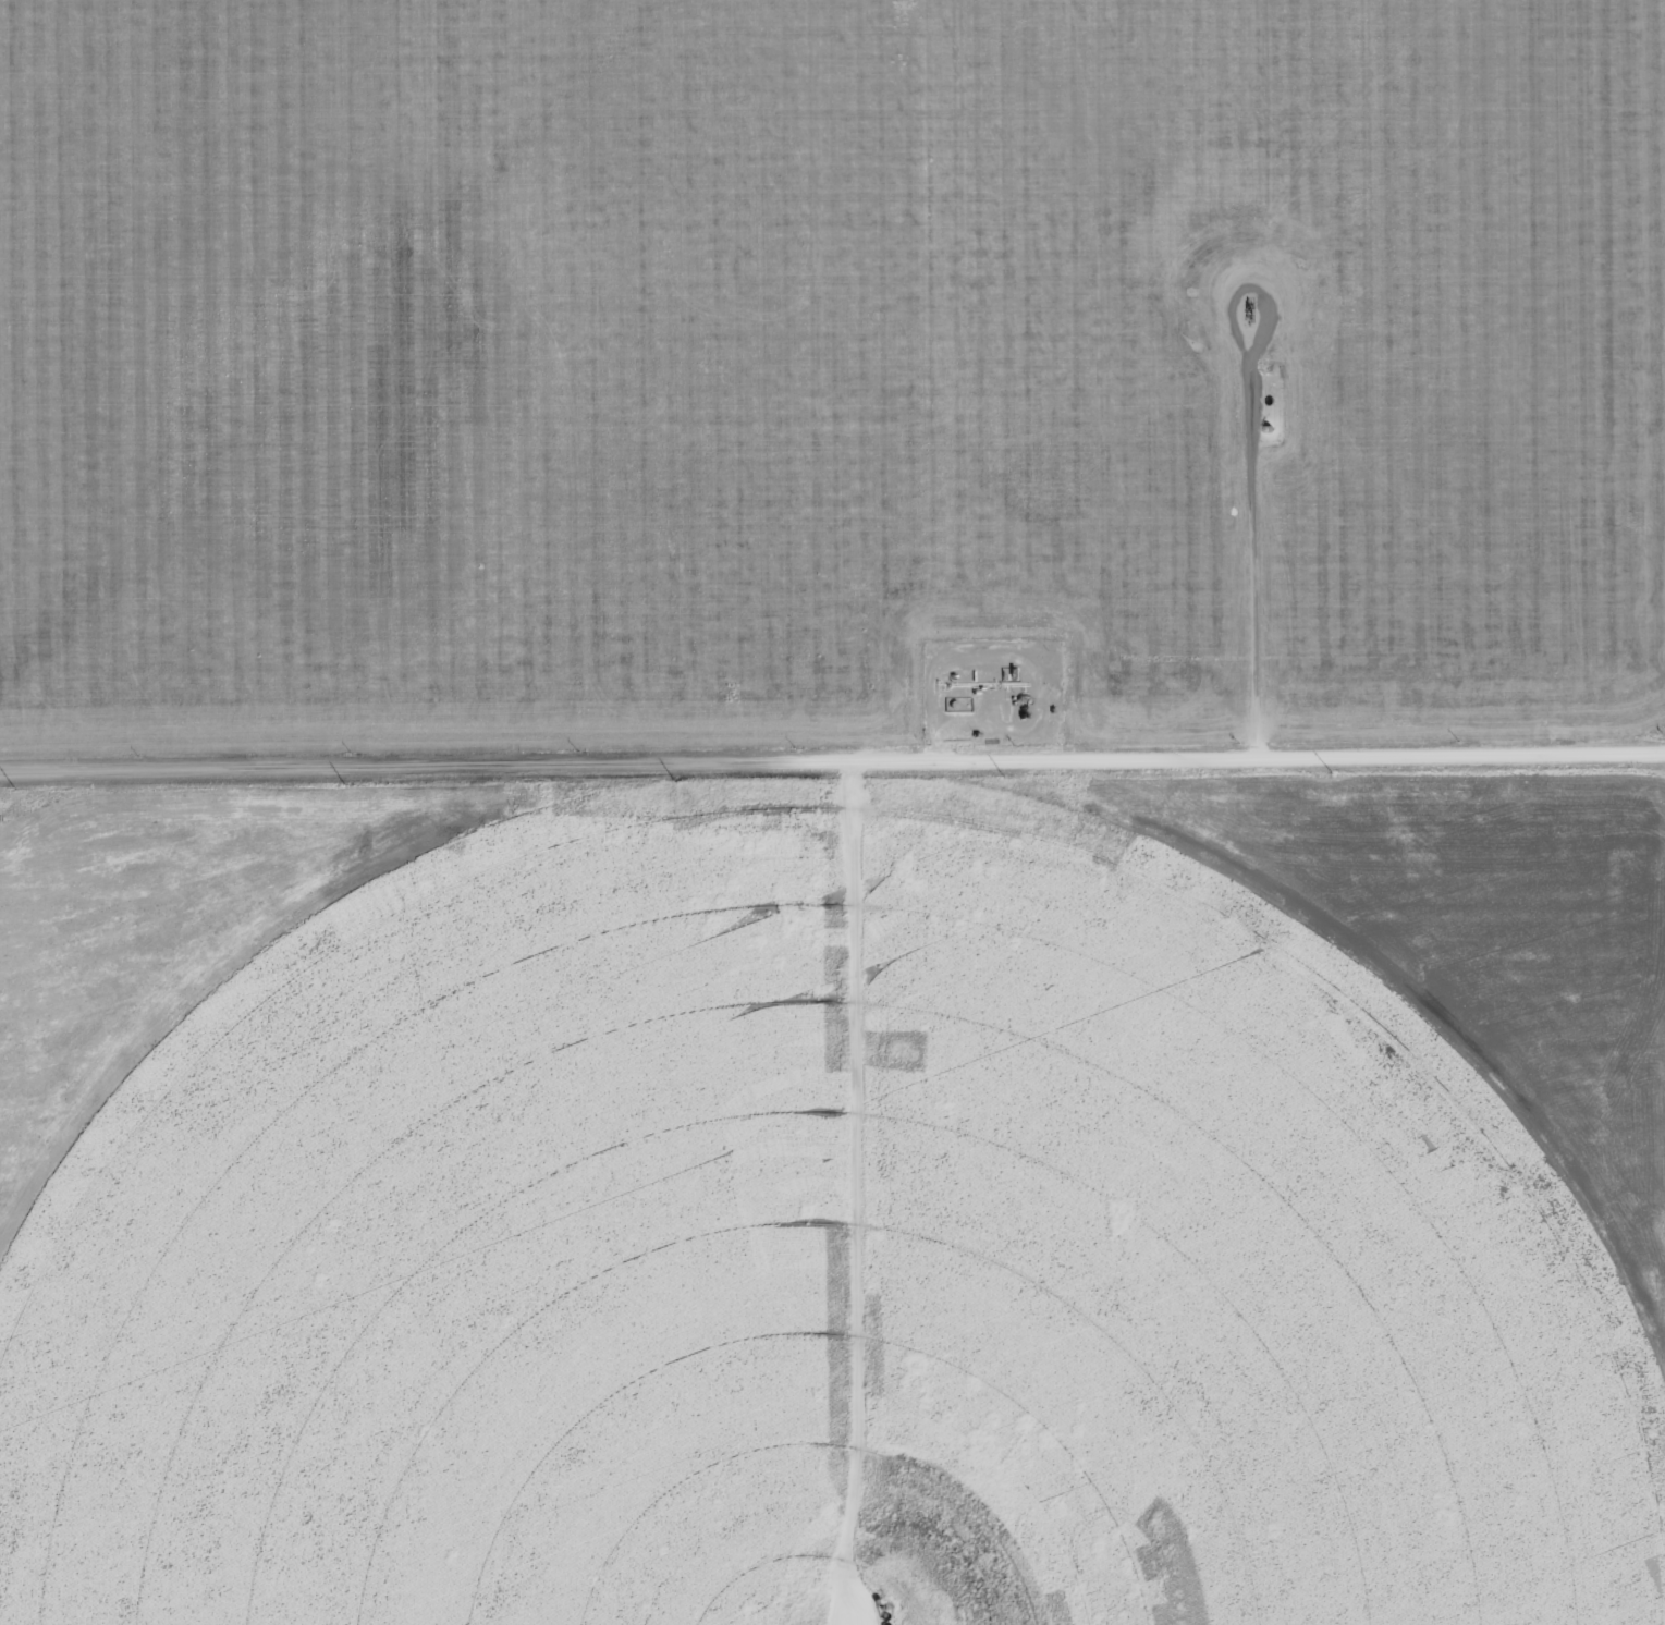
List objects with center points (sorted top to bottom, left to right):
road: (832, 760)

